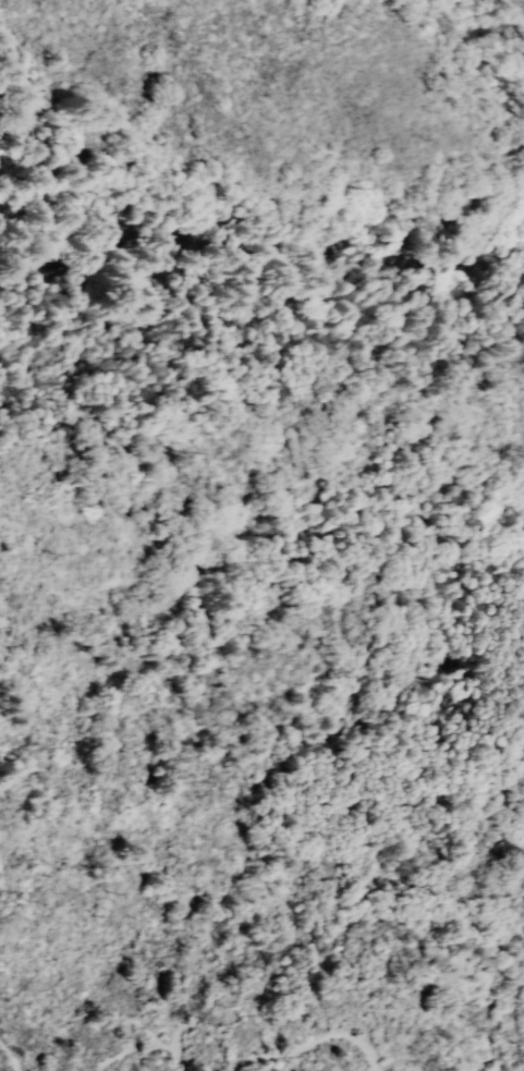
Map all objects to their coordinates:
road: (307, 1045)

